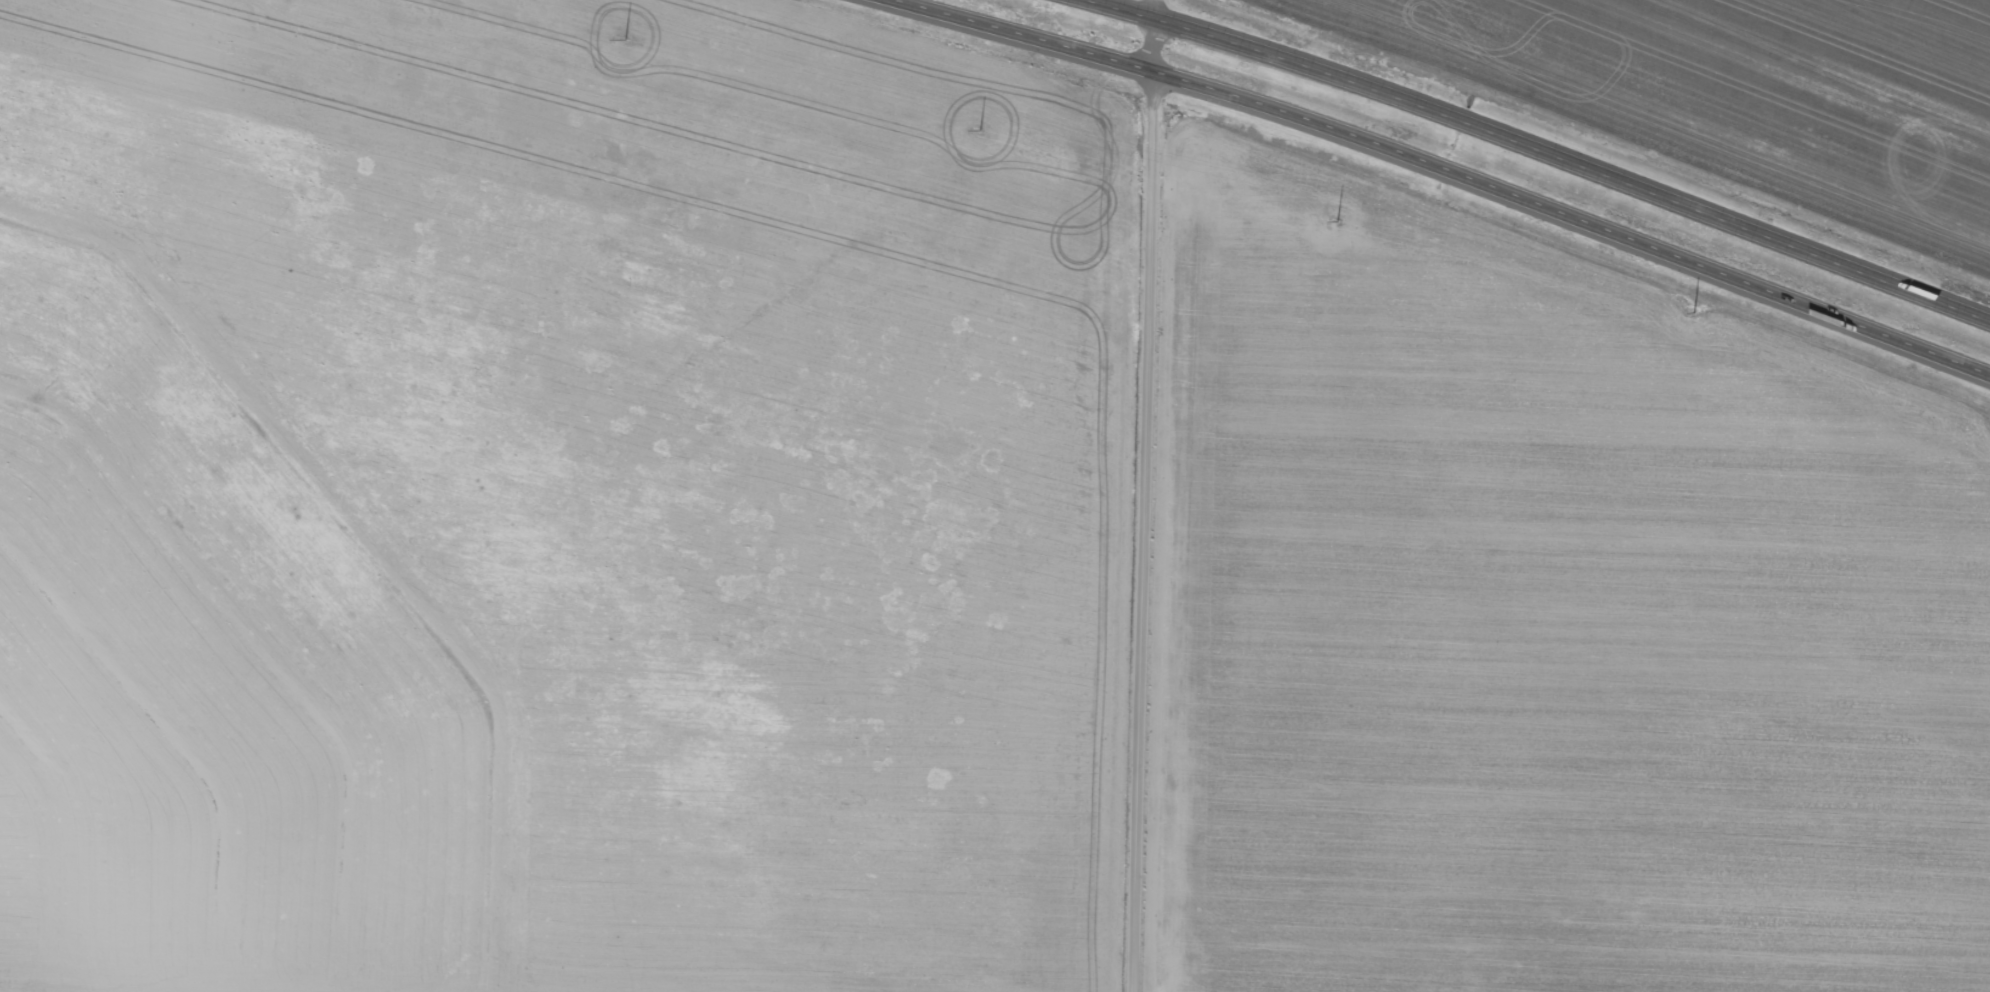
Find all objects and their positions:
road: (1156, 8)
power tower: (619, 44)
power tower: (975, 134)
road: (1545, 148)
road: (1435, 172)
power tower: (1331, 225)
power tower: (1686, 315)
road: (1145, 504)

